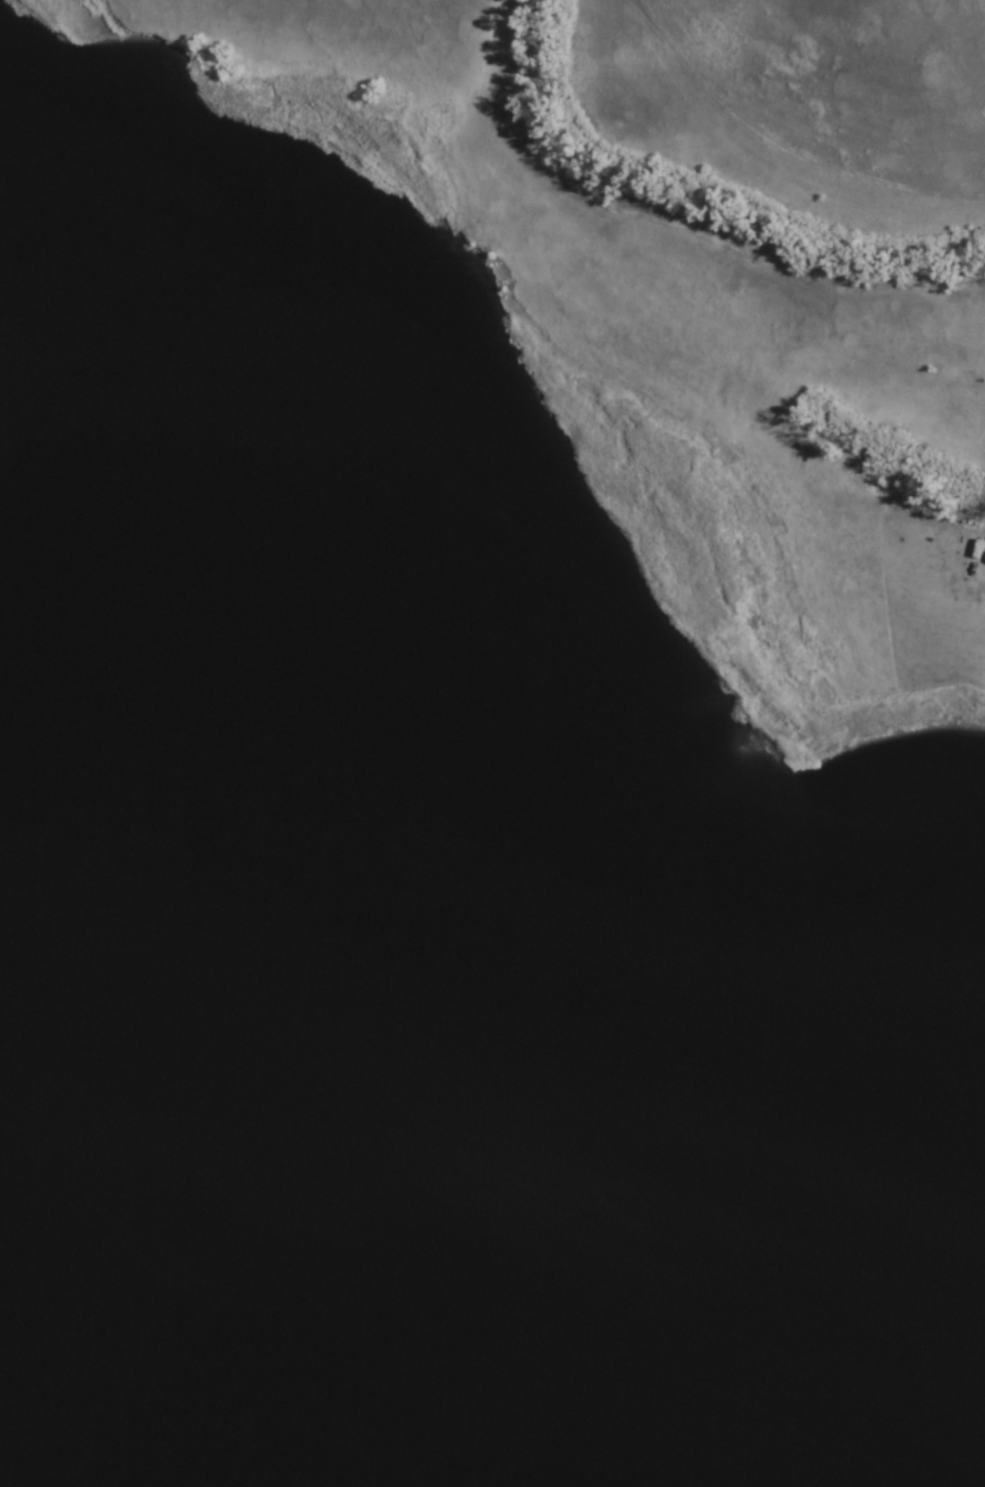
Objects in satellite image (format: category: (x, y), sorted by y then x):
road: (953, 53)
road: (784, 147)
river: (216, 1168)

